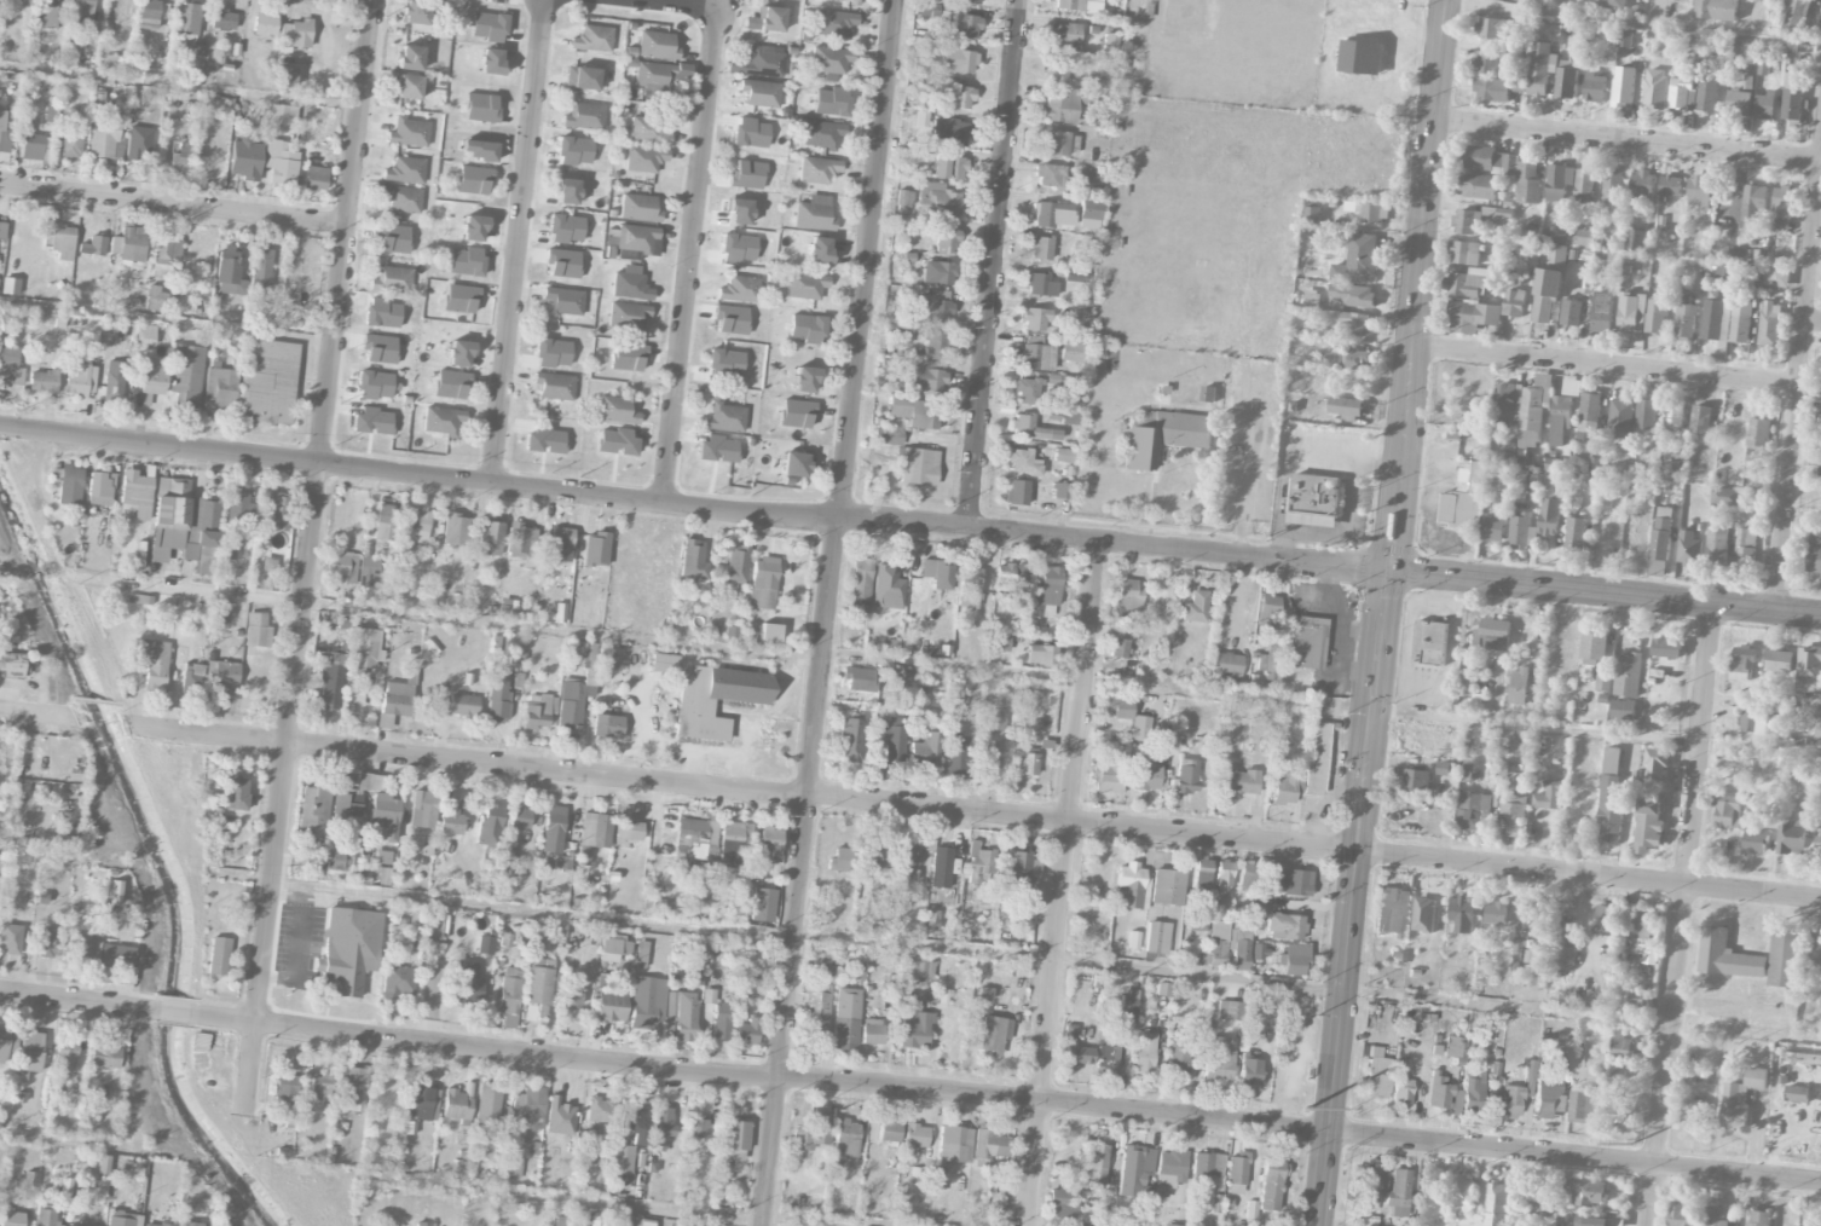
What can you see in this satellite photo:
building: (498, 0)
building: (1496, 0)
building: (969, 1)
building: (852, 2)
building: (13, 4)
road: (686, 4)
building: (1609, 4)
building: (1069, 5)
building: (1716, 10)
building: (79, 11)
building: (415, 12)
road: (1664, 12)
building: (1794, 13)
building: (46, 15)
building: (149, 15)
building: (224, 18)
building: (767, 21)
road: (1632, 22)
building: (834, 23)
building: (265, 24)
building: (487, 25)
building: (961, 25)
building: (1492, 28)
building: (186, 29)
building: (295, 34)
building: (1063, 37)
building: (592, 39)
building: (1109, 44)
building: (657, 45)
building: (410, 58)
building: (1362, 58)
building: (831, 59)
building: (958, 60)
building: (490, 62)
building: (759, 62)
building: (108, 63)
building: (1492, 63)
building: (1540, 68)
building: (1058, 71)
building: (658, 74)
building: (285, 76)
building: (583, 77)
building: (1567, 80)
road: (181, 86)
building: (406, 86)
building: (1624, 87)
building: (1595, 88)
building: (1496, 89)
building: (1653, 89)
building: (761, 93)
building: (1680, 94)
building: (961, 97)
building: (1706, 97)
building: (1791, 100)
building: (831, 102)
building: (1064, 104)
building: (1739, 104)
building: (1764, 106)
building: (481, 108)
building: (282, 115)
building: (584, 115)
building: (204, 118)
building: (647, 131)
building: (409, 132)
building: (750, 132)
building: (949, 132)
building: (4, 134)
building: (821, 134)
building: (105, 138)
road: (1628, 140)
building: (71, 141)
building: (1057, 144)
building: (35, 146)
building: (478, 150)
building: (574, 151)
building: (180, 158)
building: (208, 158)
building: (644, 158)
building: (247, 161)
building: (1490, 161)
building: (283, 164)
building: (948, 167)
building: (819, 169)
building: (405, 170)
park: (1226, 174)
building: (746, 175)
building: (1050, 175)
building: (314, 178)
building: (473, 180)
building: (1528, 184)
building: (1560, 184)
building: (1585, 184)
building: (1670, 186)
building: (1478, 187)
building: (1614, 187)
building: (1642, 189)
building: (566, 191)
building: (1700, 191)
building: (1754, 197)
building: (403, 198)
building: (936, 199)
road: (175, 206)
building: (638, 208)
building: (1781, 208)
building: (738, 212)
building: (1370, 213)
building: (814, 214)
building: (1053, 214)
building: (1089, 214)
building: (1313, 214)
building: (1466, 222)
building: (472, 227)
building: (566, 229)
building: (1557, 235)
building: (1582, 237)
building: (636, 238)
building: (394, 239)
building: (60, 241)
building: (947, 241)
building: (1636, 241)
road: (518, 242)
building: (129, 244)
building: (92, 245)
building: (738, 247)
building: (1040, 248)
building: (819, 250)
building: (1464, 253)
road: (690, 255)
building: (1556, 255)
building: (167, 258)
building: (464, 261)
building: (1358, 261)
building: (562, 264)
road: (993, 264)
building: (260, 268)
building: (229, 271)
building: (937, 272)
building: (1723, 272)
building: (1073, 274)
building: (1776, 278)
building: (392, 281)
building: (630, 284)
building: (1039, 284)
building: (805, 285)
road: (1417, 285)
building: (738, 289)
building: (1547, 294)
building: (1357, 296)
building: (459, 297)
building: (156, 299)
building: (563, 301)
building: (1514, 303)
building: (933, 306)
building: (1602, 311)
building: (381, 313)
building: (1572, 313)
building: (1631, 313)
building: (626, 316)
building: (1473, 317)
building: (1657, 317)
building: (730, 319)
building: (1033, 319)
building: (1684, 319)
building: (1715, 319)
road: (168, 320)
road: (1813, 322)
building: (1740, 323)
building: (1354, 324)
building: (1769, 325)
building: (805, 328)
building: (148, 335)
building: (902, 337)
building: (935, 345)
building: (378, 348)
building: (1071, 352)
building: (458, 353)
building: (551, 353)
building: (1035, 357)
building: (628, 358)
building: (1355, 360)
building: (724, 363)
road: (1603, 366)
building: (10, 368)
building: (186, 375)
building: (927, 375)
building: (80, 380)
building: (152, 380)
building: (803, 380)
building: (42, 381)
building: (267, 381)
building: (374, 384)
building: (450, 384)
building: (554, 386)
building: (114, 387)
road: (1796, 387)
building: (219, 389)
building: (1027, 391)
building: (1208, 394)
building: (1508, 405)
building: (897, 407)
building: (1346, 407)
building: (617, 409)
building: (1534, 411)
building: (794, 414)
building: (924, 415)
building: (1646, 415)
building: (1673, 416)
building: (724, 417)
building: (1060, 417)
building: (1560, 420)
building: (1620, 420)
building: (1701, 420)
building: (372, 421)
building: (443, 421)
road: (1, 424)
building: (1588, 427)
building: (1030, 428)
building: (888, 435)
building: (1162, 435)
building: (1758, 438)
building: (544, 440)
building: (615, 441)
building: (717, 449)
building: (1507, 452)
building: (1019, 456)
building: (794, 464)
building: (917, 465)
building: (1820, 474)
building: (67, 484)
building: (100, 488)
building: (1060, 491)
building: (137, 492)
building: (1016, 492)
building: (1725, 497)
building: (1464, 498)
building: (1314, 501)
road: (694, 508)
building: (239, 509)
building: (277, 511)
building: (1549, 517)
building: (385, 522)
building: (183, 525)
building: (417, 526)
building: (1492, 527)
building: (455, 530)
building: (1521, 532)
building: (1576, 534)
building: (490, 538)
building: (518, 540)
building: (561, 542)
building: (1717, 545)
building: (595, 548)
building: (1660, 548)
building: (1745, 549)
building: (1689, 550)
building: (1814, 553)
road: (313, 555)
building: (693, 560)
building: (268, 563)
building: (343, 565)
building: (734, 566)
building: (368, 571)
road: (1, 572)
traffic signals: (1388, 573)
building: (1008, 574)
building: (860, 578)
building: (938, 579)
building: (763, 583)
building: (1045, 585)
building: (969, 586)
building: (888, 588)
road: (1605, 594)
building: (1127, 595)
building: (1195, 607)
road: (831, 612)
building: (218, 613)
building: (1266, 615)
building: (258, 630)
building: (1493, 638)
building: (1000, 642)
building: (1429, 643)
building: (1295, 646)
building: (1117, 648)
building: (1667, 648)
building: (364, 649)
building: (1592, 649)
building: (1040, 654)
building: (583, 655)
building: (151, 660)
road: (948, 661)
building: (1780, 661)
building: (664, 663)
building: (1225, 664)
building: (1744, 664)
building: (12, 665)
building: (1808, 672)
building: (225, 675)
building: (1628, 675)
building: (857, 678)
building: (192, 679)
building: (331, 682)
building: (1603, 682)
building: (1519, 687)
building: (497, 699)
building: (715, 699)
building: (394, 701)
building: (1118, 704)
building: (462, 705)
building: (570, 705)
building: (1623, 710)
building: (539, 712)
road: (36, 713)
building: (996, 721)
building: (1747, 721)
building: (608, 722)
building: (1817, 722)
building: (1140, 728)
building: (850, 738)
building: (895, 742)
building: (926, 750)
building: (958, 754)
building: (993, 754)
building: (1316, 758)
building: (1027, 759)
road: (467, 762)
building: (1657, 764)
building: (1146, 769)
building: (1108, 773)
building: (1184, 777)
building: (1238, 781)
building: (1415, 781)
building: (1284, 787)
building: (235, 793)
building: (355, 796)
building: (1549, 797)
building: (1611, 798)
building: (423, 809)
building: (313, 810)
building: (1725, 811)
building: (1472, 812)
building: (385, 816)
building: (1513, 817)
building: (519, 819)
building: (451, 820)
building: (489, 825)
building: (1648, 826)
building: (553, 829)
building: (629, 831)
building: (592, 833)
building: (698, 838)
building: (1794, 839)
building: (770, 840)
building: (1754, 842)
building: (734, 843)
building: (1817, 843)
road: (1316, 848)
building: (873, 850)
road: (63, 854)
building: (382, 857)
building: (339, 860)
building: (840, 860)
building: (906, 862)
building: (979, 863)
building: (941, 867)
building: (1021, 868)
building: (1202, 871)
building: (1247, 875)
building: (386, 877)
building: (1222, 877)
road: (1062, 881)
building: (1290, 881)
building: (1167, 886)
building: (1132, 887)
road: (1354, 898)
building: (763, 904)
building: (663, 906)
building: (1393, 912)
building: (1495, 913)
building: (1461, 914)
building: (1424, 915)
road: (1678, 915)
building: (1526, 918)
building: (114, 919)
building: (932, 920)
building: (1197, 921)
building: (1606, 921)
building: (1643, 921)
building: (1284, 926)
building: (1157, 937)
building: (10, 938)
building: (1133, 939)
building: (50, 943)
building: (1567, 943)
building: (1227, 944)
building: (485, 945)
building: (80, 947)
building: (614, 947)
building: (1519, 947)
building: (348, 950)
building: (1815, 950)
building: (219, 955)
building: (1727, 956)
road: (1047, 959)
building: (1294, 959)
building: (1782, 959)
building: (118, 960)
building: (822, 961)
building: (923, 967)
building: (857, 971)
building: (696, 975)
building: (397, 982)
building: (467, 983)
building: (538, 984)
building: (509, 993)
building: (572, 996)
road: (75, 1001)
building: (1820, 1001)
building: (648, 1002)
building: (611, 1005)
building: (1127, 1007)
building: (1229, 1010)
road: (178, 1014)
building: (682, 1014)
building: (816, 1016)
building: (846, 1019)
building: (721, 1022)
building: (914, 1025)
building: (746, 1031)
building: (872, 1031)
building: (994, 1034)
building: (4, 1043)
building: (1455, 1047)
building: (1621, 1047)
building: (30, 1051)
building: (65, 1054)
building: (1077, 1054)
building: (1144, 1054)
building: (104, 1056)
building: (1106, 1058)
building: (1219, 1058)
building: (1178, 1059)
building: (1800, 1059)
building: (1563, 1060)
building: (1249, 1071)
building: (1377, 1074)
building: (1617, 1083)
building: (320, 1086)
building: (352, 1087)
building: (285, 1089)
building: (1401, 1089)
building: (1439, 1091)
building: (1473, 1093)
building: (1516, 1093)
building: (1797, 1094)
building: (1741, 1098)
road: (1012, 1100)
building: (1545, 1100)
building: (418, 1104)
building: (489, 1104)
building: (457, 1105)
building: (1583, 1105)
building: (528, 1108)
power tower: (1307, 1109)
building: (600, 1110)
building: (1613, 1112)
building: (1693, 1112)
building: (560, 1116)
building: (635, 1122)
building: (661, 1127)
building: (698, 1127)
building: (889, 1130)
building: (811, 1135)
building: (915, 1135)
building: (846, 1138)
building: (734, 1140)
building: (954, 1144)
road: (99, 1145)
building: (989, 1145)
power tower: (1631, 1145)
building: (492, 1150)
building: (623, 1160)
building: (1096, 1162)
building: (103, 1164)
building: (1208, 1164)
building: (514, 1169)
building: (1237, 1169)
building: (1135, 1172)
building: (1168, 1172)
building: (29, 1180)
building: (1271, 1185)
building: (1368, 1190)
building: (1590, 1192)
building: (1398, 1193)
building: (1462, 1195)
building: (1062, 1203)
road: (622, 1204)
building: (1498, 1204)
building: (1538, 1204)
building: (1682, 1216)
building: (1716, 1216)
building: (12, 1218)
building: (46, 1218)
building: (120, 1219)
building: (1759, 1219)
building: (560, 1220)
building: (636, 1221)
building: (1599, 1221)
building: (157, 1224)
building: (189, 1224)
building: (87, 1225)
building: (1170, 1225)

